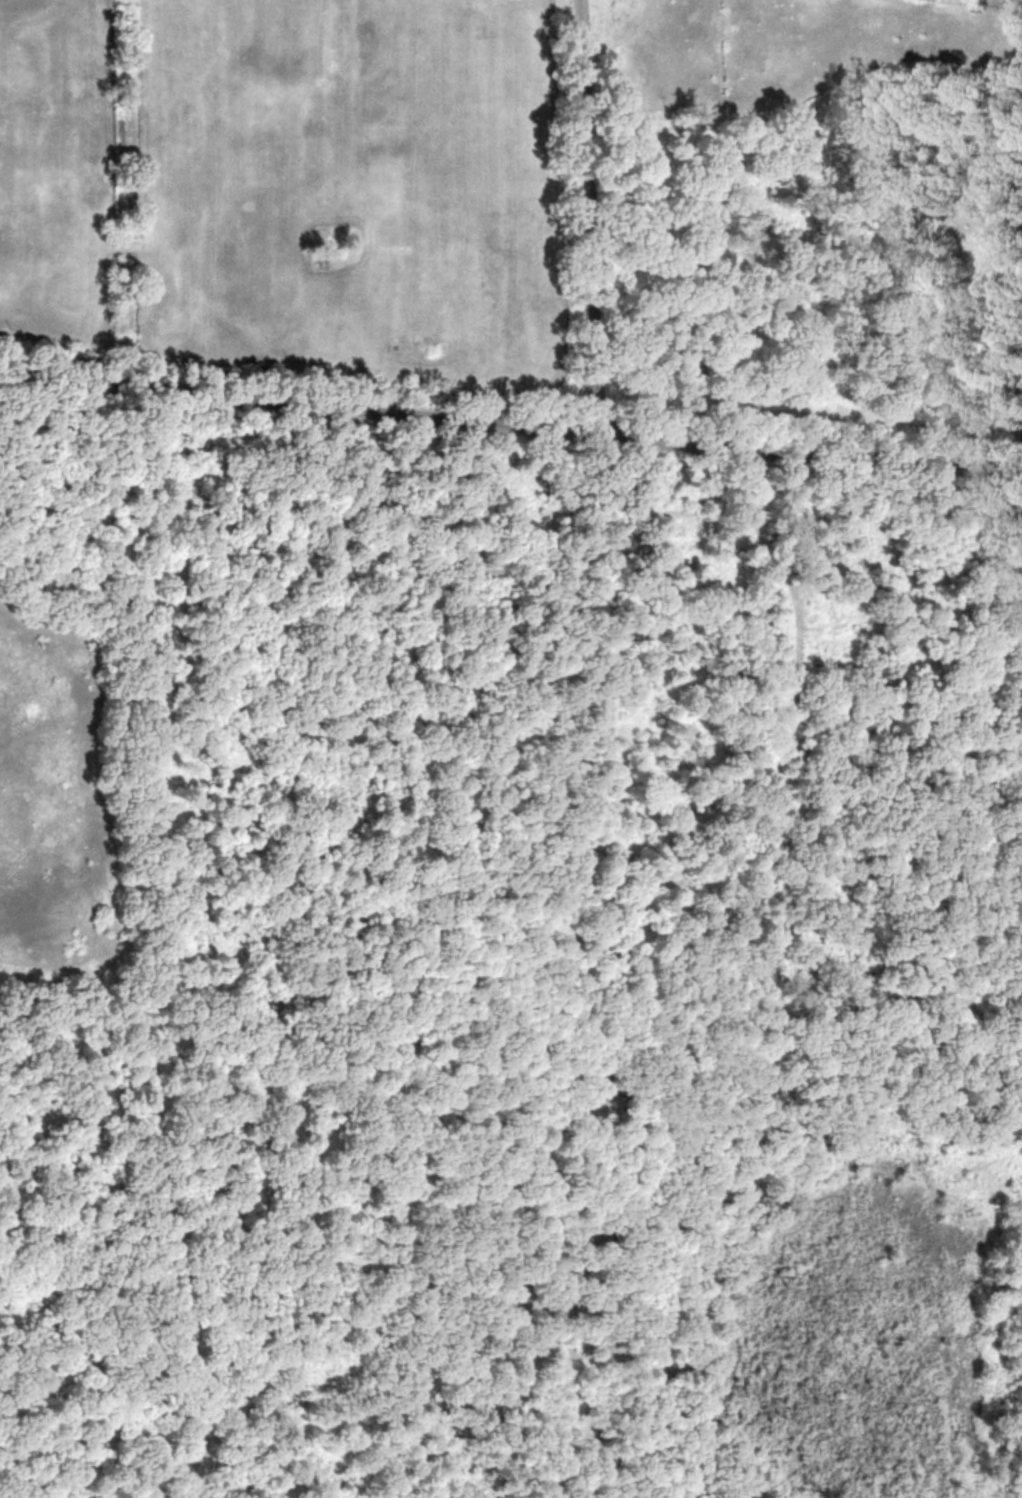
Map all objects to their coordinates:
road: (591, 218)
road: (1015, 367)
road: (510, 428)

